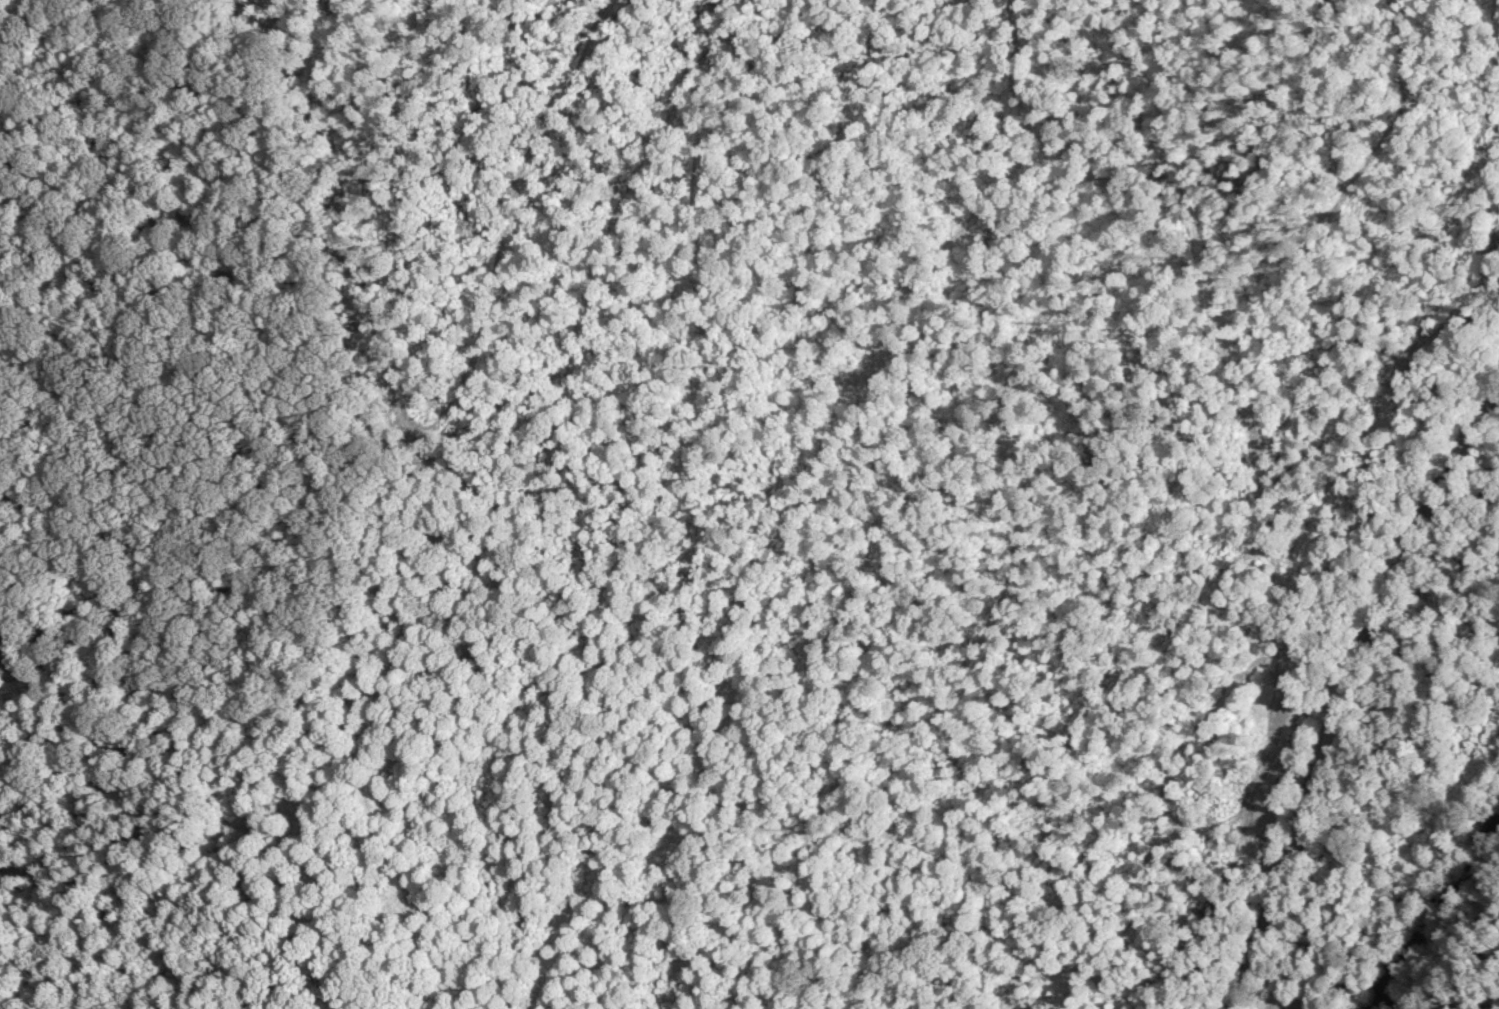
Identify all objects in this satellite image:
road: (1348, 677)

